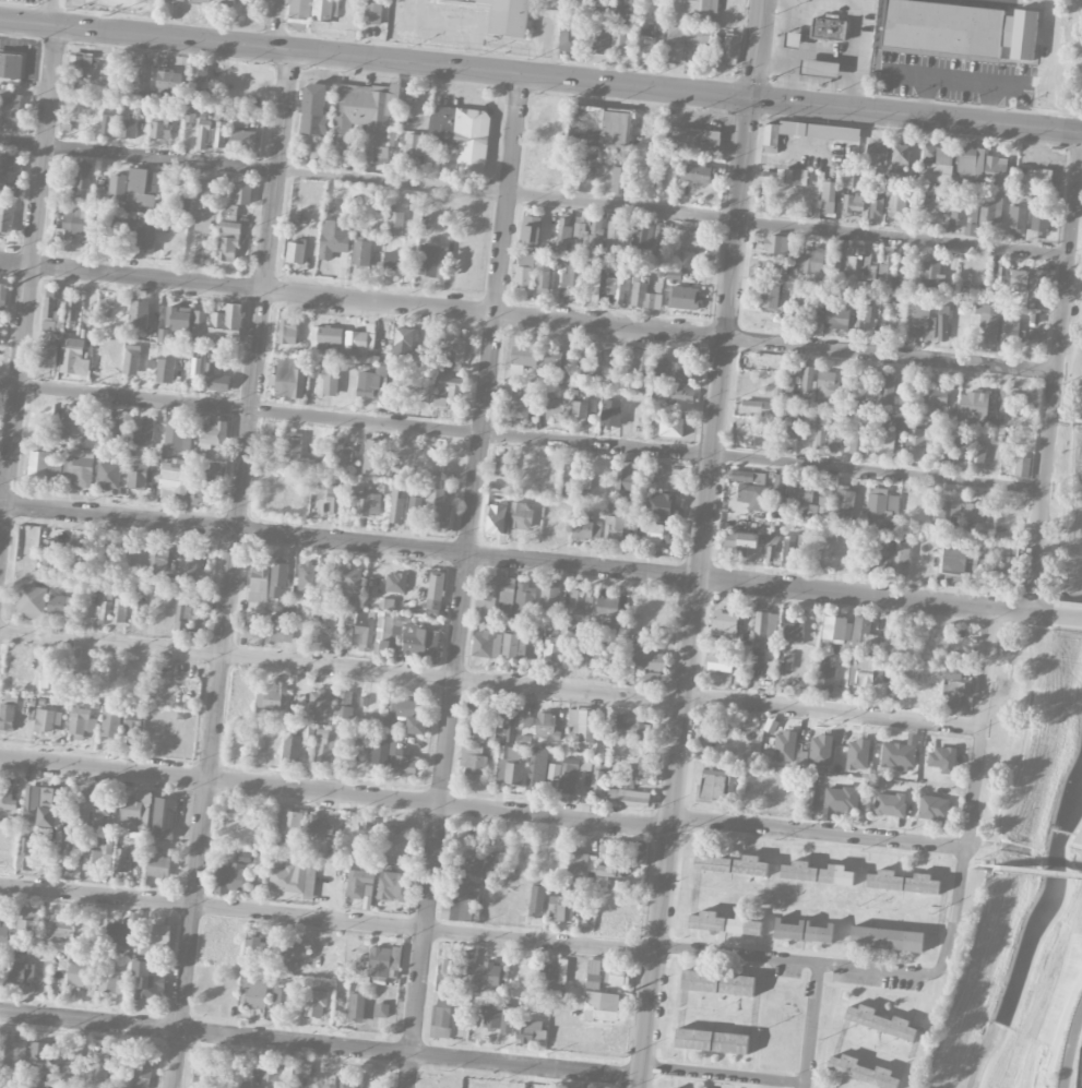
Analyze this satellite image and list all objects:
building: (176, 0)
building: (200, 1)
road: (834, 2)
building: (225, 3)
building: (630, 3)
building: (695, 7)
building: (300, 9)
building: (325, 10)
building: (729, 10)
road: (50, 12)
building: (373, 12)
road: (1080, 12)
building: (508, 17)
road: (277, 24)
building: (828, 29)
building: (941, 29)
building: (572, 37)
building: (1025, 37)
building: (602, 38)
road: (777, 40)
building: (792, 40)
building: (647, 41)
building: (685, 41)
building: (619, 44)
road: (261, 46)
building: (730, 48)
road: (758, 48)
road: (854, 53)
park: (1060, 58)
building: (81, 62)
building: (11, 65)
building: (819, 68)
building: (145, 75)
road: (808, 81)
building: (197, 82)
building: (167, 85)
road: (789, 91)
traffic signals: (752, 98)
road: (802, 103)
building: (10, 105)
building: (316, 116)
building: (365, 119)
building: (240, 120)
building: (108, 121)
building: (159, 127)
building: (599, 128)
building: (127, 129)
building: (806, 133)
building: (204, 134)
building: (462, 134)
building: (219, 138)
building: (242, 141)
building: (693, 141)
building: (413, 144)
building: (877, 148)
building: (900, 156)
building: (970, 164)
building: (588, 167)
building: (939, 167)
building: (995, 169)
building: (568, 172)
building: (10, 174)
building: (699, 175)
building: (793, 177)
building: (81, 180)
building: (619, 180)
building: (1037, 181)
building: (117, 188)
building: (142, 189)
building: (241, 192)
road: (534, 196)
building: (899, 201)
building: (853, 204)
building: (876, 207)
building: (991, 211)
building: (229, 212)
building: (963, 212)
building: (1018, 218)
building: (5, 219)
building: (1038, 219)
building: (76, 220)
building: (395, 222)
building: (201, 226)
building: (531, 229)
building: (563, 232)
building: (588, 232)
building: (142, 234)
road: (1081, 234)
building: (96, 235)
building: (644, 236)
building: (334, 238)
building: (614, 238)
building: (693, 239)
building: (659, 240)
building: (228, 241)
building: (778, 244)
building: (296, 253)
building: (361, 253)
building: (430, 261)
building: (396, 262)
building: (811, 262)
building: (887, 262)
building: (903, 264)
building: (774, 268)
building: (858, 268)
building: (524, 271)
building: (674, 275)
building: (932, 275)
building: (543, 277)
building: (1019, 279)
building: (998, 280)
road: (28, 282)
building: (1037, 284)
building: (901, 285)
building: (569, 287)
building: (617, 289)
building: (2, 296)
building: (770, 296)
building: (804, 296)
building: (644, 297)
building: (683, 298)
building: (71, 309)
building: (51, 312)
building: (864, 313)
building: (139, 314)
road: (527, 316)
building: (837, 318)
building: (176, 322)
building: (226, 322)
building: (943, 322)
building: (922, 323)
building: (986, 323)
building: (897, 325)
building: (199, 326)
building: (287, 328)
building: (1009, 331)
building: (959, 333)
building: (325, 336)
building: (358, 344)
building: (403, 344)
building: (453, 355)
building: (49, 356)
building: (524, 356)
building: (73, 357)
building: (131, 360)
building: (556, 362)
building: (582, 362)
building: (641, 363)
building: (193, 367)
building: (594, 367)
building: (314, 369)
building: (165, 370)
building: (675, 371)
road: (1055, 372)
building: (290, 378)
building: (215, 380)
building: (790, 380)
building: (807, 380)
building: (330, 382)
building: (368, 384)
building: (452, 385)
building: (828, 386)
building: (885, 392)
building: (678, 393)
building: (409, 398)
building: (936, 400)
building: (439, 402)
building: (519, 406)
building: (756, 407)
building: (556, 408)
building: (973, 408)
building: (581, 409)
building: (610, 413)
building: (72, 423)
building: (670, 427)
building: (120, 429)
building: (829, 429)
building: (143, 432)
building: (217, 432)
building: (788, 435)
building: (177, 437)
road: (521, 438)
building: (857, 442)
building: (883, 442)
building: (917, 442)
building: (293, 446)
road: (1069, 447)
building: (954, 450)
building: (342, 452)
building: (978, 454)
building: (372, 455)
building: (45, 465)
building: (502, 467)
building: (1022, 467)
building: (78, 468)
building: (211, 470)
building: (108, 476)
building: (138, 476)
building: (747, 477)
building: (568, 478)
building: (627, 479)
building: (174, 480)
building: (498, 487)
building: (200, 492)
building: (801, 492)
building: (763, 494)
building: (334, 499)
building: (824, 501)
building: (365, 502)
building: (396, 503)
building: (844, 503)
building: (881, 504)
building: (663, 505)
building: (906, 507)
building: (414, 512)
building: (438, 512)
building: (944, 514)
building: (521, 516)
building: (977, 516)
building: (585, 528)
building: (615, 528)
building: (662, 533)
building: (729, 540)
building: (748, 540)
building: (804, 541)
building: (788, 549)
building: (887, 553)
building: (828, 555)
building: (61, 557)
building: (158, 559)
building: (851, 559)
building: (869, 559)
road: (526, 560)
building: (901, 560)
building: (953, 560)
building: (108, 561)
building: (189, 567)
road: (231, 569)
building: (980, 572)
building: (1007, 573)
building: (306, 577)
building: (278, 578)
building: (259, 579)
building: (347, 579)
road: (463, 581)
building: (167, 582)
road: (695, 593)
building: (435, 594)
building: (507, 595)
building: (549, 598)
building: (525, 599)
building: (33, 601)
building: (486, 601)
building: (581, 603)
building: (57, 605)
building: (199, 605)
building: (103, 607)
building: (607, 607)
building: (286, 608)
building: (119, 610)
building: (324, 611)
building: (135, 613)
road: (1068, 615)
building: (182, 619)
building: (198, 624)
building: (724, 624)
building: (765, 624)
building: (252, 629)
building: (365, 629)
building: (833, 629)
building: (278, 631)
building: (534, 632)
building: (793, 633)
building: (384, 635)
building: (860, 636)
building: (347, 638)
building: (421, 642)
building: (487, 644)
building: (513, 646)
building: (596, 647)
building: (551, 651)
building: (645, 660)
building: (788, 661)
building: (720, 663)
road: (341, 666)
building: (865, 672)
building: (953, 673)
building: (49, 675)
building: (825, 678)
building: (647, 679)
building: (894, 686)
building: (955, 694)
building: (272, 696)
building: (319, 704)
building: (343, 705)
building: (480, 709)
road: (831, 712)
building: (8, 714)
building: (408, 714)
building: (524, 719)
building: (47, 721)
building: (391, 722)
building: (82, 724)
building: (506, 724)
building: (545, 724)
building: (110, 725)
building: (581, 727)
building: (631, 727)
building: (476, 729)
building: (710, 730)
building: (132, 732)
building: (784, 746)
building: (292, 749)
building: (380, 751)
building: (820, 751)
building: (900, 753)
building: (858, 754)
building: (717, 755)
building: (942, 760)
building: (406, 764)
building: (473, 764)
building: (509, 769)
building: (537, 769)
building: (573, 774)
building: (638, 776)
building: (597, 781)
building: (712, 785)
road: (973, 791)
road: (334, 792)
building: (628, 798)
building: (7, 799)
building: (841, 799)
building: (31, 804)
building: (890, 804)
building: (52, 808)
building: (90, 808)
building: (934, 808)
park: (1029, 810)
building: (135, 814)
building: (164, 818)
building: (292, 825)
building: (319, 827)
road: (819, 832)
building: (365, 837)
building: (396, 839)
building: (71, 845)
road: (992, 852)
building: (28, 854)
building: (98, 857)
building: (126, 860)
building: (579, 861)
building: (733, 865)
road: (979, 865)
building: (158, 866)
road: (1039, 871)
building: (818, 873)
building: (233, 875)
building: (295, 878)
building: (903, 883)
building: (360, 884)
building: (394, 886)
building: (463, 892)
building: (536, 900)
building: (561, 908)
road: (328, 918)
building: (3, 921)
building: (28, 922)
building: (724, 923)
building: (57, 926)
building: (804, 931)
building: (119, 933)
building: (158, 934)
building: (887, 938)
building: (252, 945)
building: (292, 952)
building: (0, 957)
road: (797, 960)
building: (380, 961)
building: (457, 966)
building: (20, 972)
building: (594, 973)
building: (83, 975)
building: (488, 975)
building: (617, 975)
building: (548, 977)
building: (148, 981)
building: (112, 982)
building: (718, 983)
building: (254, 994)
building: (282, 997)
building: (357, 1006)
building: (601, 1006)
building: (381, 1011)
building: (491, 1015)
building: (507, 1019)
building: (441, 1020)
building: (880, 1023)
road: (812, 1024)
road: (1060, 1029)
building: (531, 1031)
building: (712, 1041)
road: (320, 1044)
road: (1071, 1049)
building: (12, 1055)
building: (39, 1056)
building: (69, 1061)
building: (100, 1067)
building: (138, 1072)
building: (863, 1072)
building: (301, 1074)
building: (203, 1075)
road: (724, 1075)
building: (241, 1077)
building: (276, 1077)
building: (348, 1083)
road: (805, 1086)

